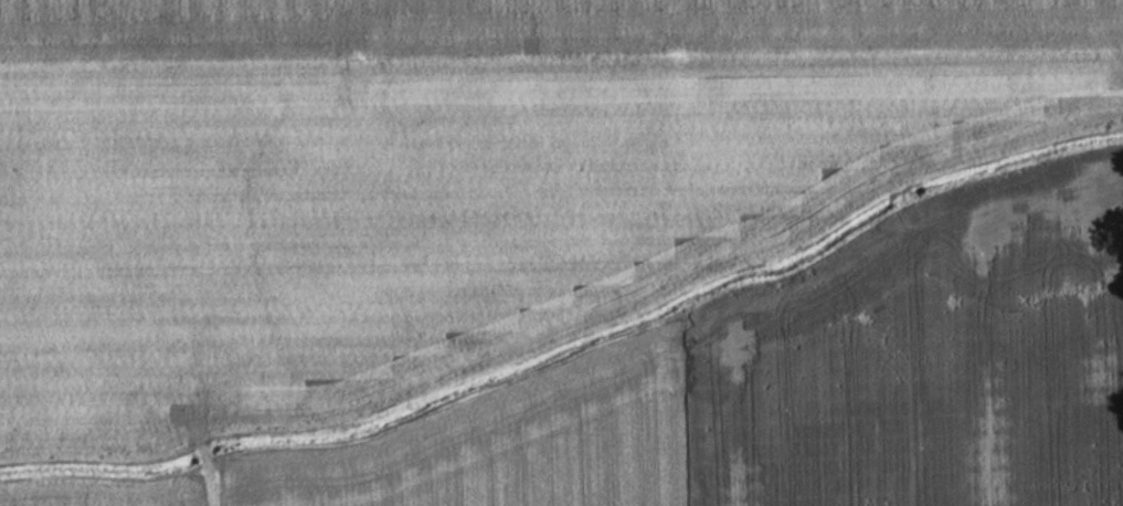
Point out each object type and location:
crop: (448, 179)
crop: (831, 396)
crop: (114, 500)

